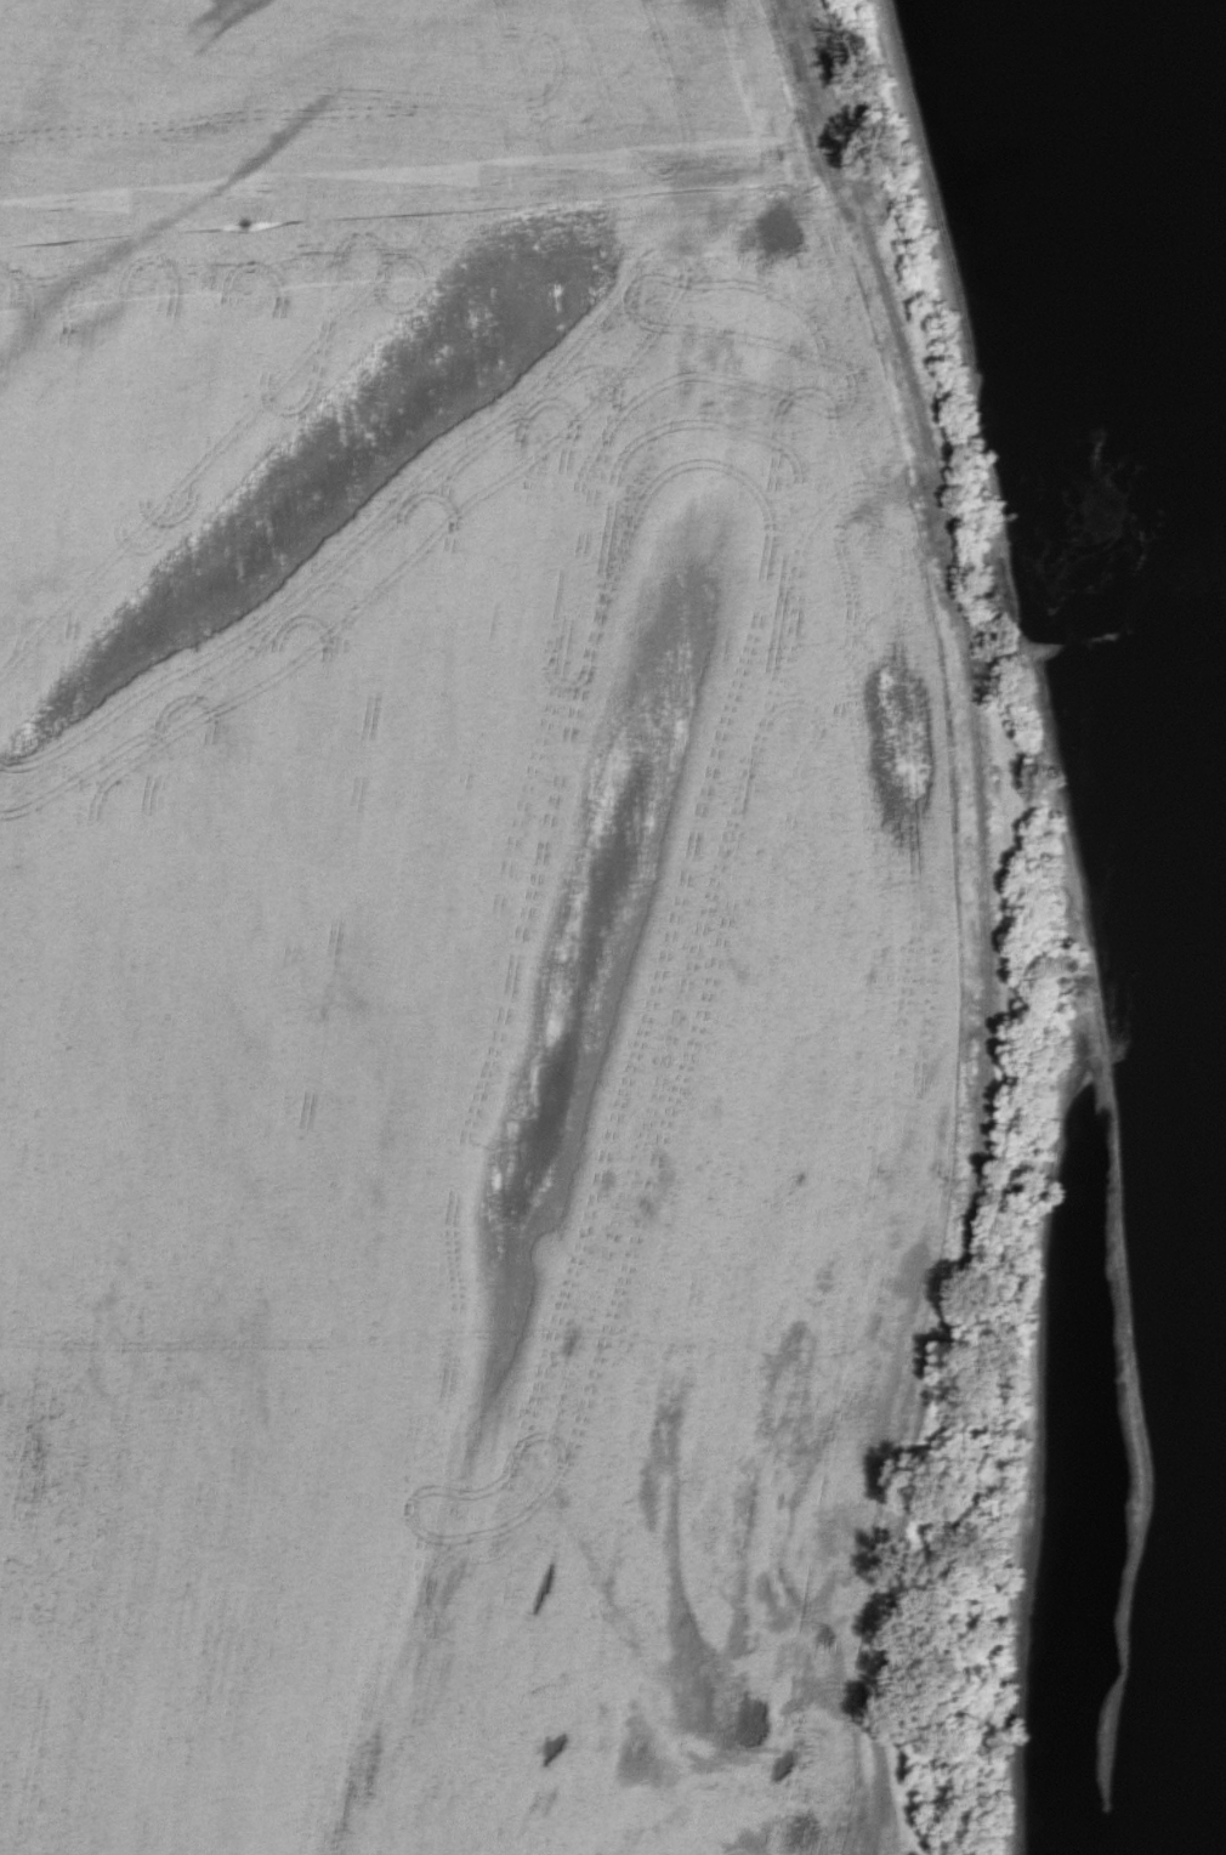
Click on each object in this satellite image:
road: (987, 920)
crop: (449, 936)

